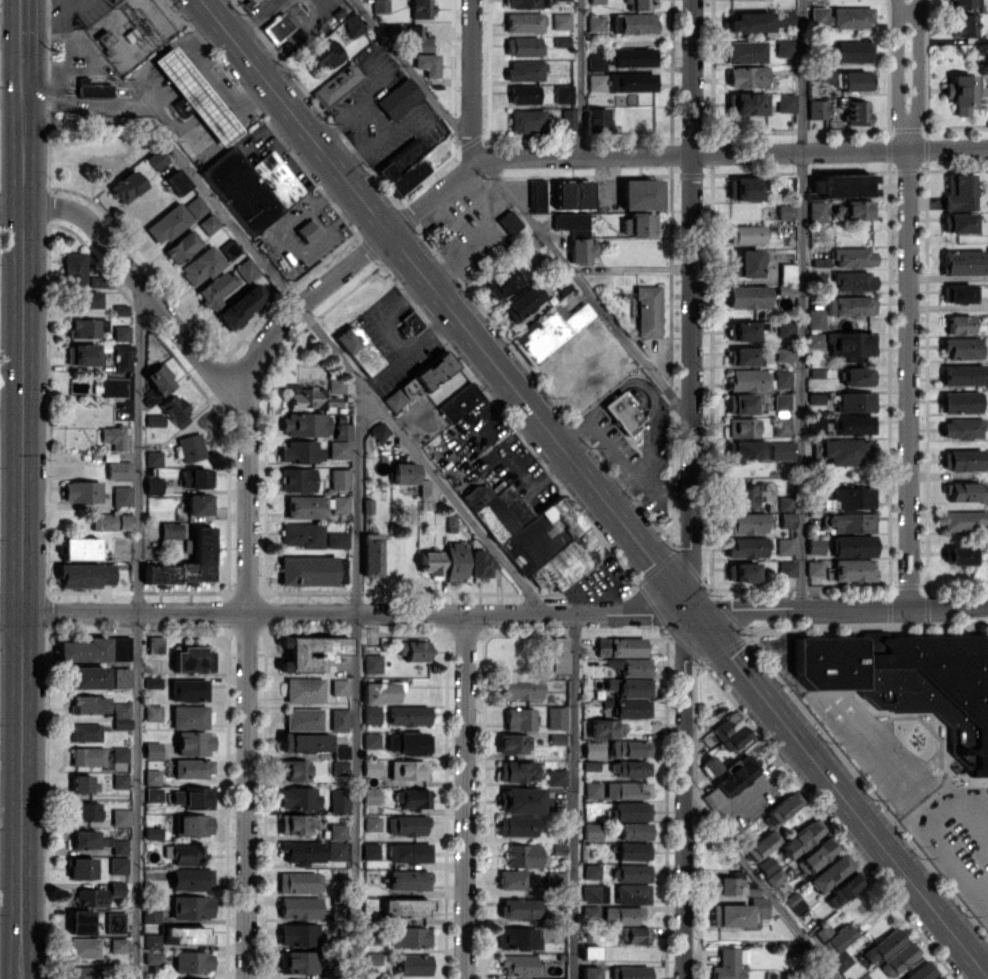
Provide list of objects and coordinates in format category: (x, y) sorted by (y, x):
road: (55, 1)
building: (525, 3)
building: (963, 3)
building: (638, 4)
building: (379, 5)
building: (421, 9)
parking lot: (74, 10)
road: (251, 15)
building: (841, 16)
building: (784, 18)
building: (561, 20)
building: (749, 21)
building: (523, 22)
building: (595, 23)
building: (633, 23)
building: (352, 24)
building: (963, 24)
building: (277, 27)
road: (295, 35)
road: (25, 38)
building: (416, 38)
building: (522, 46)
building: (785, 47)
building: (853, 50)
building: (745, 51)
building: (325, 54)
building: (631, 57)
building: (596, 61)
building: (427, 64)
building: (525, 69)
road: (413, 71)
road: (897, 74)
road: (916, 74)
road: (693, 76)
building: (746, 76)
road: (582, 77)
road: (472, 79)
building: (856, 80)
building: (596, 81)
building: (631, 81)
building: (336, 85)
building: (92, 88)
building: (960, 92)
building: (563, 93)
building: (523, 94)
building: (195, 95)
building: (398, 98)
building: (786, 102)
building: (746, 103)
building: (817, 108)
building: (567, 118)
building: (596, 119)
building: (526, 120)
road: (24, 141)
road: (733, 151)
building: (156, 158)
building: (403, 167)
building: (176, 181)
building: (841, 185)
building: (127, 186)
building: (252, 187)
building: (744, 188)
building: (957, 191)
building: (640, 193)
road: (435, 194)
building: (536, 194)
building: (572, 194)
building: (195, 206)
road: (12, 207)
building: (858, 209)
building: (784, 211)
building: (816, 211)
building: (509, 221)
building: (168, 222)
building: (957, 222)
building: (208, 223)
building: (571, 223)
building: (638, 224)
building: (305, 230)
building: (745, 233)
building: (182, 246)
building: (580, 249)
building: (987, 254)
building: (853, 257)
building: (747, 262)
building: (962, 262)
building: (202, 265)
building: (74, 268)
building: (246, 269)
building: (787, 272)
building: (98, 281)
building: (852, 281)
building: (502, 282)
road: (146, 286)
road: (585, 287)
building: (215, 288)
building: (959, 292)
building: (747, 296)
building: (87, 299)
building: (522, 302)
road: (801, 304)
building: (241, 305)
building: (849, 305)
road: (300, 306)
building: (120, 309)
building: (647, 311)
road: (309, 318)
building: (815, 318)
building: (408, 323)
building: (959, 324)
building: (86, 327)
building: (785, 328)
building: (743, 330)
building: (550, 331)
building: (120, 332)
building: (814, 339)
building: (850, 343)
building: (960, 347)
building: (359, 349)
building: (82, 354)
building: (783, 354)
building: (741, 356)
building: (122, 357)
building: (433, 370)
building: (962, 374)
building: (856, 376)
building: (159, 378)
building: (782, 378)
road: (908, 378)
building: (745, 379)
building: (336, 385)
building: (114, 387)
building: (310, 398)
building: (394, 399)
building: (782, 401)
building: (855, 401)
building: (959, 401)
building: (458, 402)
building: (740, 403)
building: (175, 409)
building: (623, 412)
building: (154, 420)
building: (818, 423)
building: (305, 424)
building: (852, 424)
building: (781, 426)
building: (740, 427)
building: (961, 428)
building: (379, 430)
building: (342, 431)
building: (113, 436)
building: (191, 447)
building: (338, 449)
building: (747, 450)
building: (781, 450)
building: (301, 451)
building: (846, 451)
building: (154, 458)
building: (962, 459)
building: (119, 470)
building: (404, 473)
building: (196, 477)
building: (339, 478)
building: (297, 479)
building: (153, 484)
building: (81, 491)
road: (593, 491)
building: (964, 491)
building: (426, 494)
building: (121, 495)
building: (742, 496)
building: (340, 503)
building: (785, 503)
building: (199, 504)
building: (305, 506)
road: (246, 508)
building: (786, 519)
building: (964, 519)
building: (110, 521)
building: (850, 522)
building: (745, 523)
building: (171, 530)
building: (301, 534)
building: (535, 534)
building: (336, 539)
building: (202, 545)
building: (815, 545)
building: (852, 545)
building: (784, 546)
building: (80, 548)
building: (371, 554)
building: (956, 555)
building: (455, 560)
building: (430, 563)
building: (482, 563)
road: (688, 565)
building: (814, 567)
building: (786, 568)
building: (852, 569)
building: (307, 570)
building: (741, 571)
building: (84, 574)
road: (22, 592)
traffic signals: (688, 612)
road: (494, 613)
road: (138, 629)
building: (155, 644)
building: (620, 646)
building: (83, 650)
building: (413, 650)
building: (309, 652)
building: (557, 655)
building: (191, 659)
building: (372, 663)
building: (630, 666)
building: (87, 677)
building: (121, 677)
building: (910, 680)
road: (357, 681)
building: (153, 682)
building: (339, 686)
building: (629, 686)
building: (520, 688)
building: (304, 689)
building: (188, 690)
building: (380, 691)
building: (88, 704)
building: (629, 707)
building: (153, 712)
building: (371, 714)
building: (121, 715)
building: (408, 715)
building: (189, 716)
building: (556, 717)
building: (304, 718)
building: (519, 718)
building: (339, 719)
building: (725, 725)
building: (605, 728)
building: (85, 732)
building: (735, 738)
building: (371, 740)
building: (194, 742)
building: (304, 742)
building: (408, 742)
building: (512, 743)
building: (629, 747)
building: (593, 749)
building: (152, 750)
building: (341, 751)
building: (119, 753)
building: (87, 756)
building: (711, 764)
building: (339, 767)
building: (370, 767)
building: (193, 768)
building: (629, 768)
building: (407, 769)
building: (295, 770)
building: (517, 771)
building: (556, 776)
building: (151, 777)
building: (119, 780)
building: (729, 781)
building: (80, 783)
building: (592, 789)
building: (626, 789)
building: (153, 794)
road: (247, 795)
building: (370, 795)
road: (465, 796)
road: (575, 796)
building: (193, 797)
building: (298, 797)
building: (413, 797)
building: (339, 800)
building: (522, 800)
building: (784, 806)
building: (84, 810)
building: (630, 810)
building: (120, 816)
building: (295, 823)
building: (372, 823)
building: (193, 824)
building: (407, 825)
building: (516, 825)
building: (634, 830)
building: (337, 831)
building: (592, 831)
road: (986, 831)
building: (152, 832)
building: (801, 837)
road: (933, 837)
building: (84, 838)
building: (761, 845)
building: (119, 846)
building: (633, 850)
building: (302, 851)
building: (336, 851)
building: (370, 851)
building: (409, 852)
building: (188, 854)
building: (815, 854)
building: (523, 855)
building: (118, 865)
building: (81, 868)
building: (770, 870)
building: (591, 871)
building: (630, 872)
building: (830, 872)
building: (555, 877)
building: (191, 878)
building: (408, 879)
building: (517, 879)
building: (299, 881)
road: (763, 884)
building: (732, 886)
building: (116, 888)
building: (844, 889)
building: (594, 893)
building: (632, 893)
building: (91, 897)
building: (795, 901)
building: (191, 906)
building: (368, 906)
building: (299, 907)
building: (403, 907)
building: (520, 907)
building: (590, 910)
building: (738, 912)
building: (621, 914)
building: (150, 915)
building: (80, 921)
building: (114, 921)
building: (299, 934)
building: (634, 934)
building: (185, 935)
building: (410, 937)
building: (833, 937)
building: (518, 938)
building: (152, 941)
building: (118, 945)
building: (881, 946)
building: (83, 947)
building: (589, 952)
building: (153, 957)
building: (371, 958)
building: (899, 958)
building: (840, 960)
building: (192, 961)
building: (299, 961)
building: (413, 964)
building: (728, 964)
building: (519, 966)
building: (920, 971)
building: (83, 972)
building: (590, 972)
building: (630, 972)
building: (808, 976)
building: (863, 976)
building: (936, 977)
building: (558, 978)

